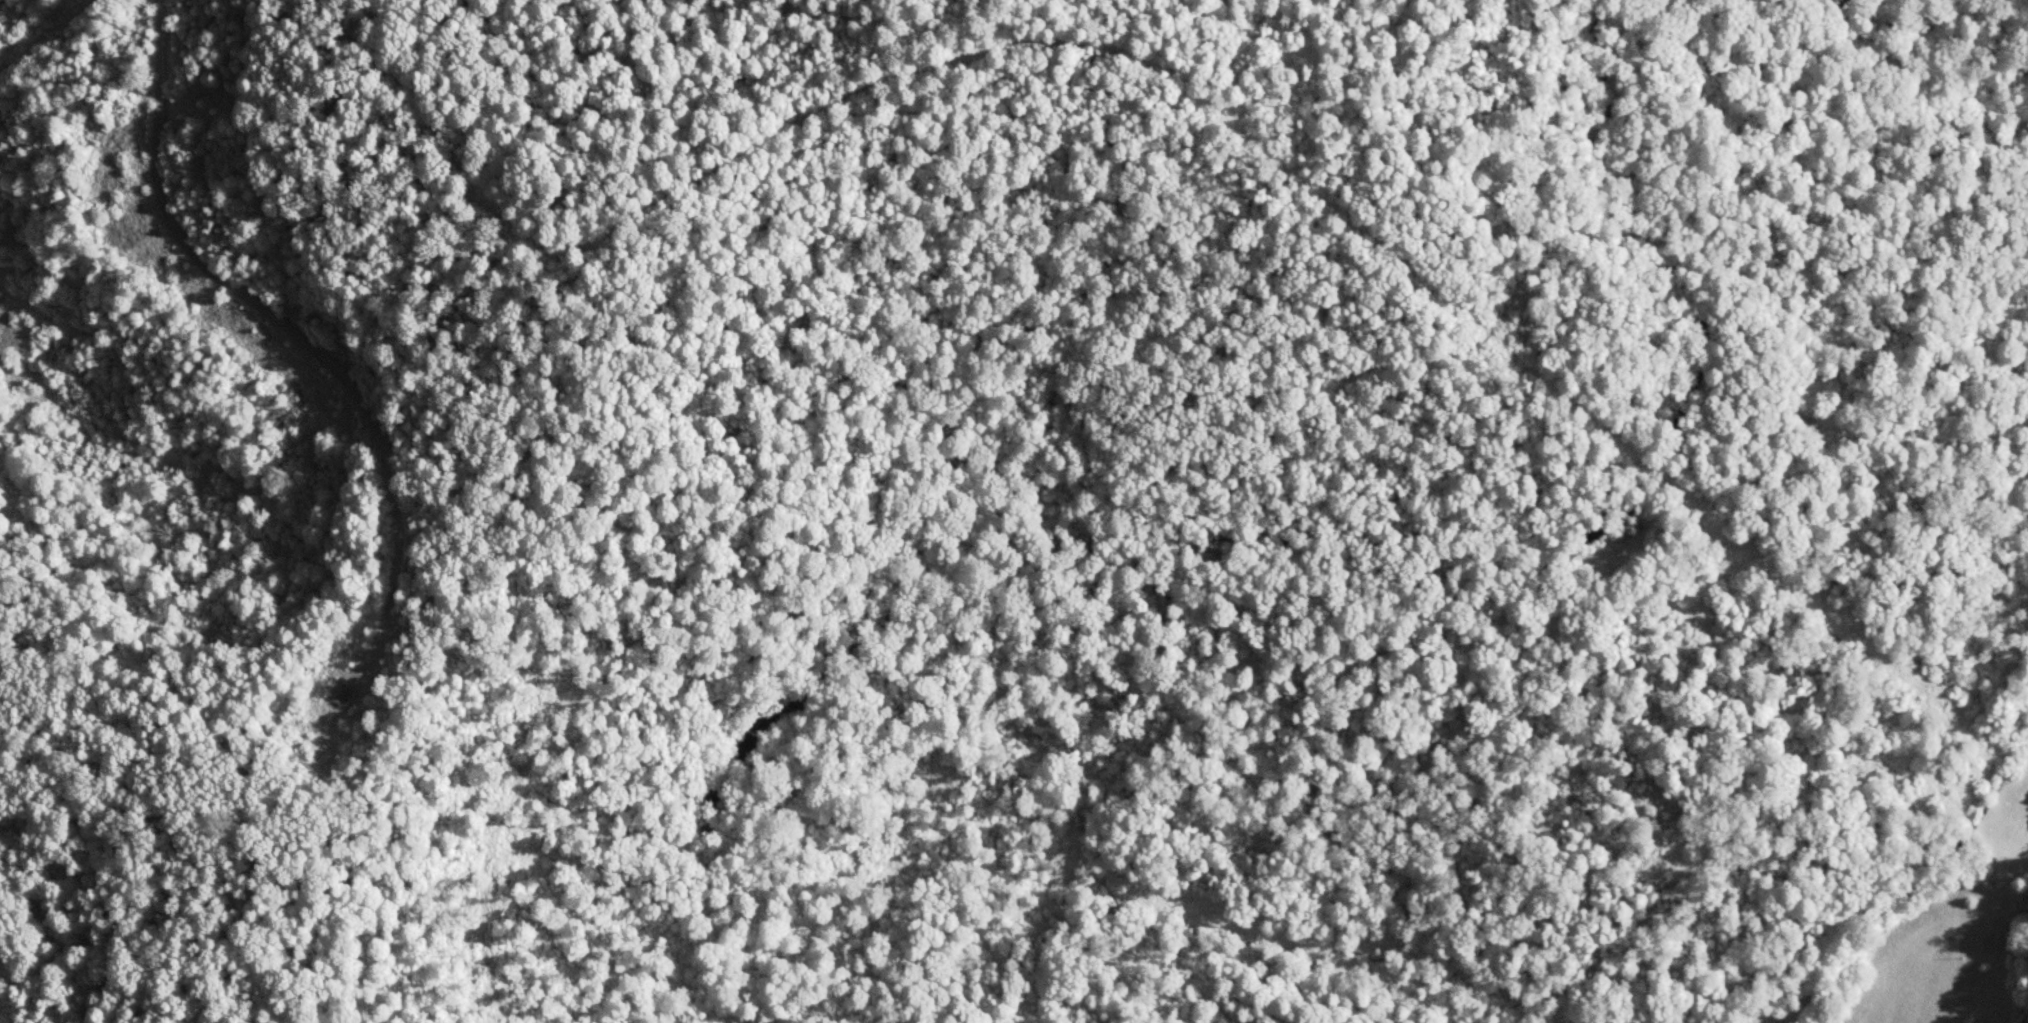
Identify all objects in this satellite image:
road: (2009, 995)

